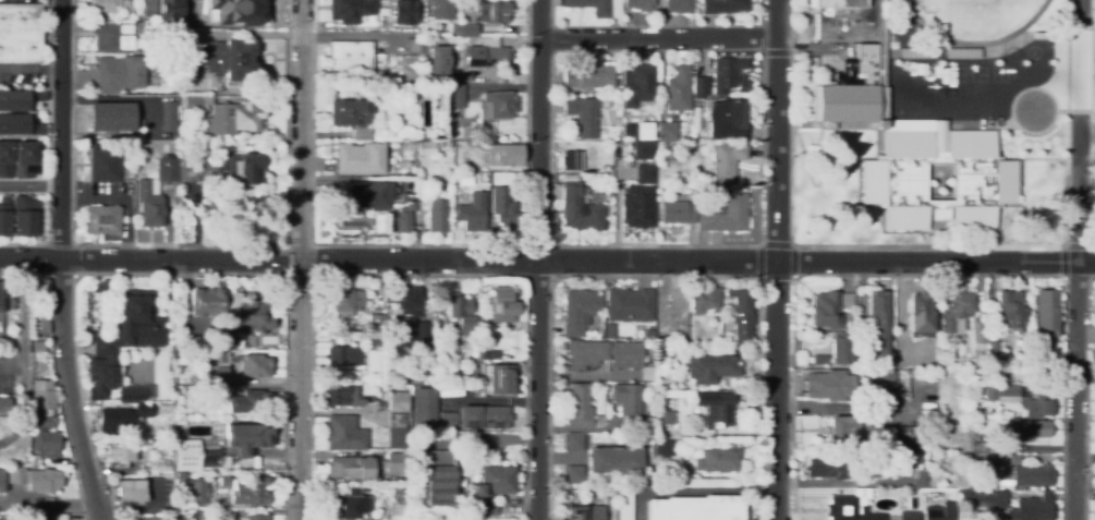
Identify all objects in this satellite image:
building: (473, 0)
building: (643, 5)
building: (679, 5)
building: (725, 5)
building: (104, 7)
building: (125, 7)
building: (594, 7)
building: (226, 8)
building: (149, 9)
road: (1082, 9)
building: (352, 10)
building: (442, 10)
building: (494, 11)
building: (403, 12)
building: (163, 13)
building: (145, 23)
road: (657, 25)
building: (136, 27)
building: (464, 29)
building: (1056, 32)
building: (20, 34)
building: (151, 38)
road: (658, 38)
building: (113, 39)
building: (848, 39)
building: (411, 47)
building: (912, 51)
building: (958, 51)
road: (777, 52)
building: (486, 56)
building: (350, 58)
building: (226, 59)
building: (183, 61)
building: (437, 62)
road: (31, 70)
building: (120, 73)
building: (727, 73)
building: (589, 78)
building: (638, 84)
building: (701, 87)
building: (679, 89)
building: (562, 93)
building: (453, 96)
building: (19, 101)
building: (496, 106)
building: (845, 106)
building: (350, 113)
building: (585, 114)
building: (696, 114)
building: (226, 116)
building: (111, 117)
building: (168, 117)
building: (727, 120)
building: (617, 122)
building: (20, 126)
building: (643, 131)
building: (667, 131)
building: (360, 133)
building: (402, 134)
parking lot: (1093, 134)
road: (1086, 135)
building: (183, 138)
building: (465, 144)
building: (147, 145)
building: (438, 145)
building: (447, 145)
building: (672, 147)
building: (424, 148)
building: (642, 149)
building: (507, 155)
building: (358, 158)
building: (574, 158)
building: (600, 158)
building: (4, 160)
building: (25, 160)
building: (727, 161)
building: (105, 165)
building: (406, 165)
building: (457, 166)
building: (619, 167)
building: (196, 169)
building: (240, 170)
building: (643, 173)
building: (933, 177)
building: (463, 179)
building: (155, 193)
building: (367, 196)
building: (642, 201)
building: (698, 204)
building: (501, 210)
building: (581, 210)
building: (677, 213)
building: (471, 214)
building: (726, 215)
building: (3, 216)
building: (437, 216)
building: (24, 217)
building: (401, 217)
building: (102, 220)
road: (552, 242)
road: (772, 244)
road: (804, 246)
road: (1062, 247)
road: (299, 259)
road: (537, 259)
road: (776, 259)
road: (547, 261)
road: (60, 262)
road: (928, 275)
road: (655, 276)
building: (38, 286)
building: (1, 298)
building: (705, 300)
building: (346, 302)
building: (502, 305)
building: (629, 305)
building: (231, 309)
building: (829, 309)
building: (922, 309)
building: (1010, 310)
building: (580, 311)
building: (741, 311)
building: (957, 311)
building: (1046, 312)
building: (462, 315)
road: (1075, 321)
building: (879, 322)
building: (377, 324)
building: (38, 326)
building: (410, 327)
building: (609, 330)
building: (978, 332)
building: (649, 335)
building: (446, 337)
building: (1094, 337)
building: (123, 339)
building: (223, 339)
building: (376, 339)
building: (38, 347)
building: (993, 348)
building: (843, 349)
building: (484, 352)
building: (495, 352)
building: (586, 353)
building: (422, 354)
building: (345, 356)
building: (669, 356)
building: (218, 358)
building: (631, 359)
building: (820, 359)
building: (255, 366)
building: (711, 368)
building: (995, 370)
building: (221, 375)
building: (864, 375)
building: (502, 377)
building: (416, 383)
building: (884, 384)
building: (829, 386)
building: (131, 394)
building: (42, 395)
building: (341, 396)
building: (907, 396)
building: (864, 397)
building: (1021, 400)
building: (3, 402)
building: (250, 402)
building: (399, 402)
building: (629, 404)
building: (426, 406)
building: (579, 407)
building: (718, 410)
building: (120, 415)
building: (485, 415)
building: (664, 418)
building: (449, 419)
building: (600, 420)
building: (180, 423)
building: (1032, 430)
building: (851, 431)
building: (888, 431)
building: (896, 431)
building: (902, 431)
building: (910, 431)
building: (397, 432)
building: (344, 434)
building: (247, 437)
building: (44, 438)
building: (574, 442)
building: (692, 445)
building: (880, 447)
building: (978, 447)
building: (665, 449)
building: (120, 454)
building: (187, 455)
building: (905, 455)
building: (855, 456)
building: (616, 460)
building: (718, 460)
building: (1000, 460)
building: (228, 462)
building: (255, 462)
building: (397, 463)
building: (866, 463)
building: (825, 467)
building: (167, 468)
building: (351, 469)
building: (574, 474)
building: (1032, 475)
building: (35, 479)
building: (1006, 479)
building: (438, 480)
building: (2, 481)
building: (226, 481)
building: (494, 482)
building: (196, 491)
building: (132, 492)
building: (253, 493)
building: (983, 499)
road: (153, 501)
building: (624, 501)
building: (941, 501)
building: (350, 504)
building: (849, 507)
building: (696, 508)
building: (1032, 508)
building: (488, 509)
building: (398, 511)
building: (938, 511)
building: (582, 512)
building: (193, 515)
building: (40, 516)
building: (909, 516)
building: (258, 517)

